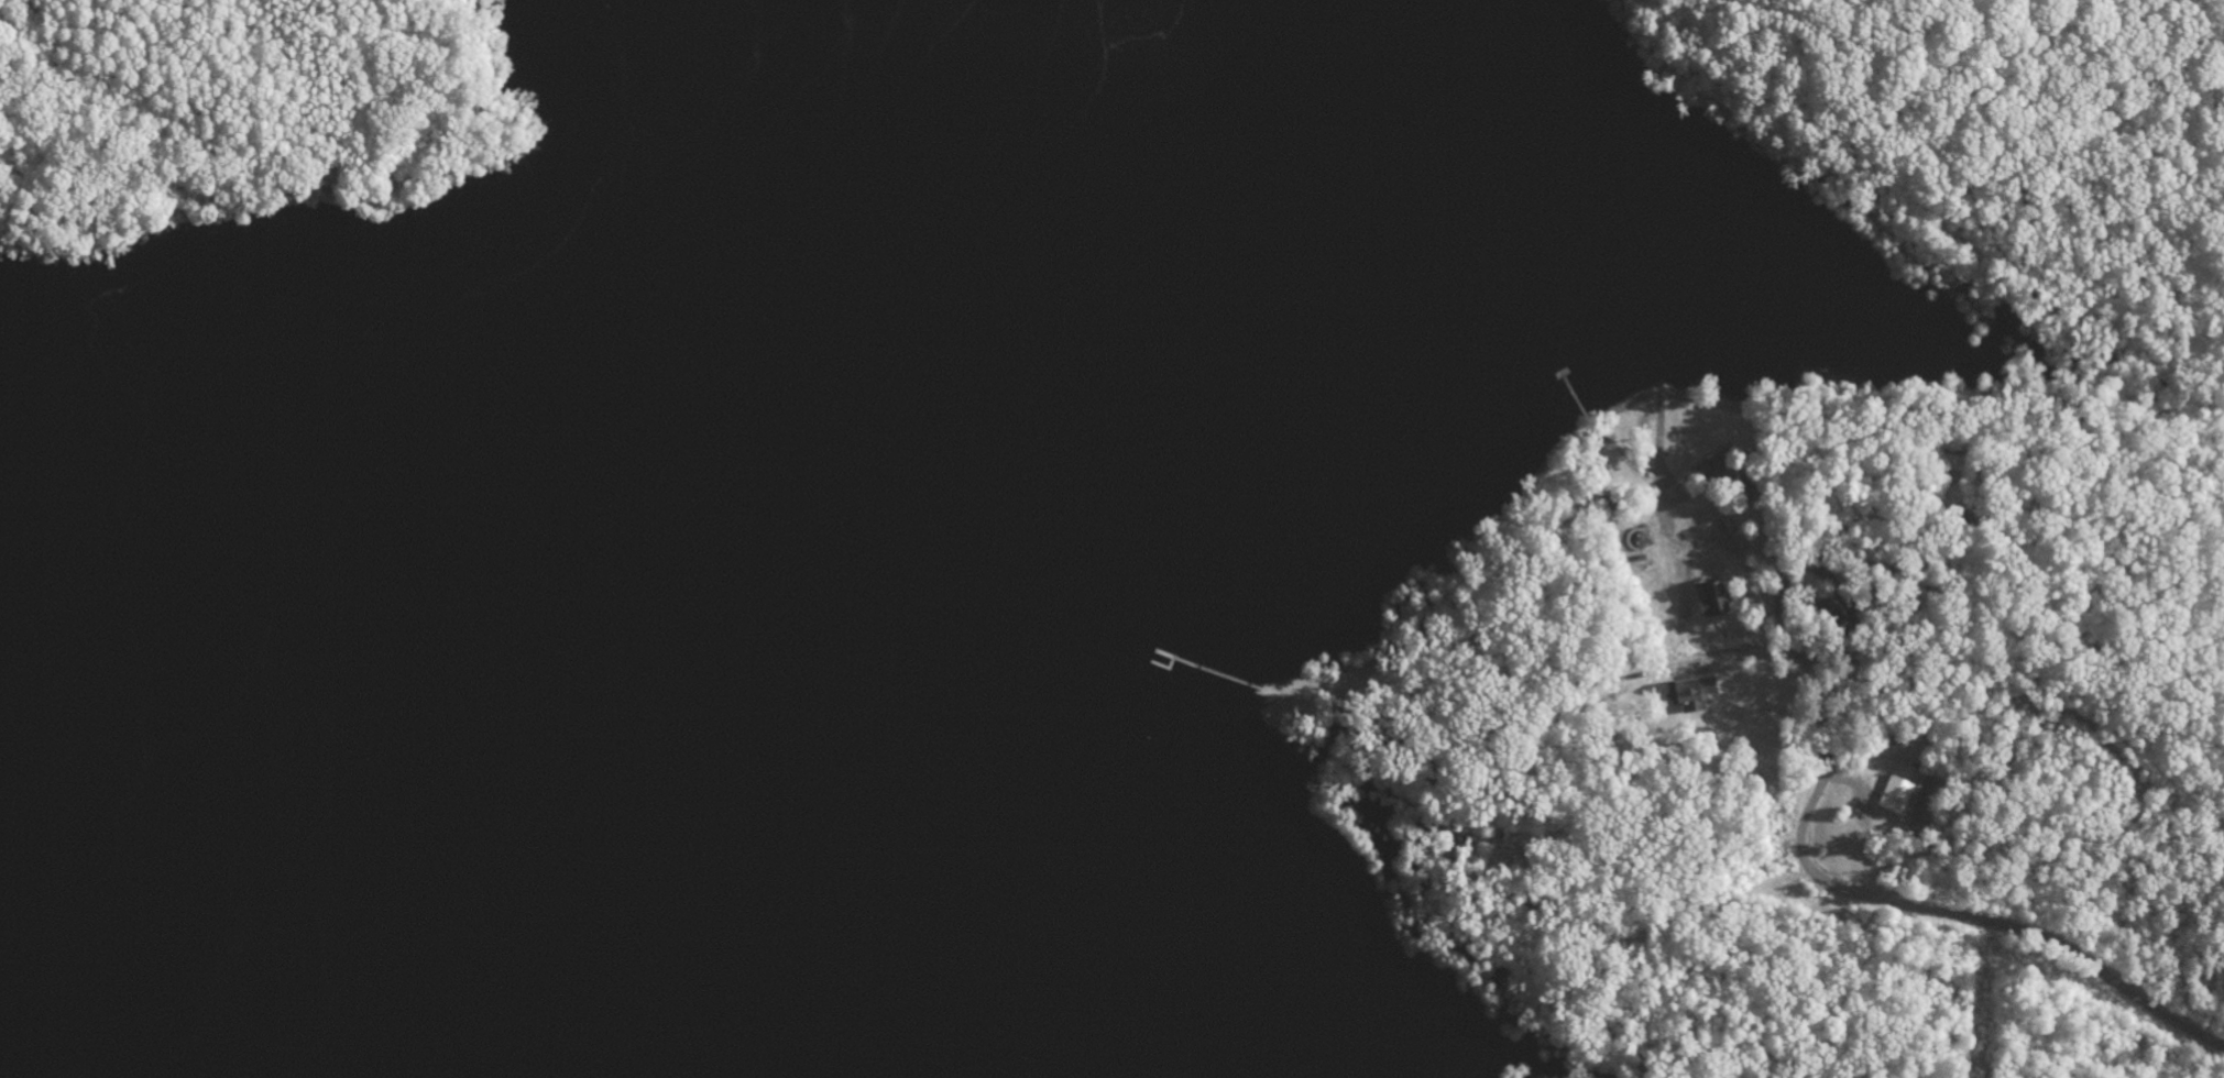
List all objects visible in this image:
road: (1832, 414)
road: (1659, 416)
river: (513, 538)
building: (1716, 601)
pier: (1164, 668)
pier: (1204, 669)
building: (1697, 695)
road: (1823, 724)
building: (1899, 796)
road: (1803, 856)
road: (1712, 888)

